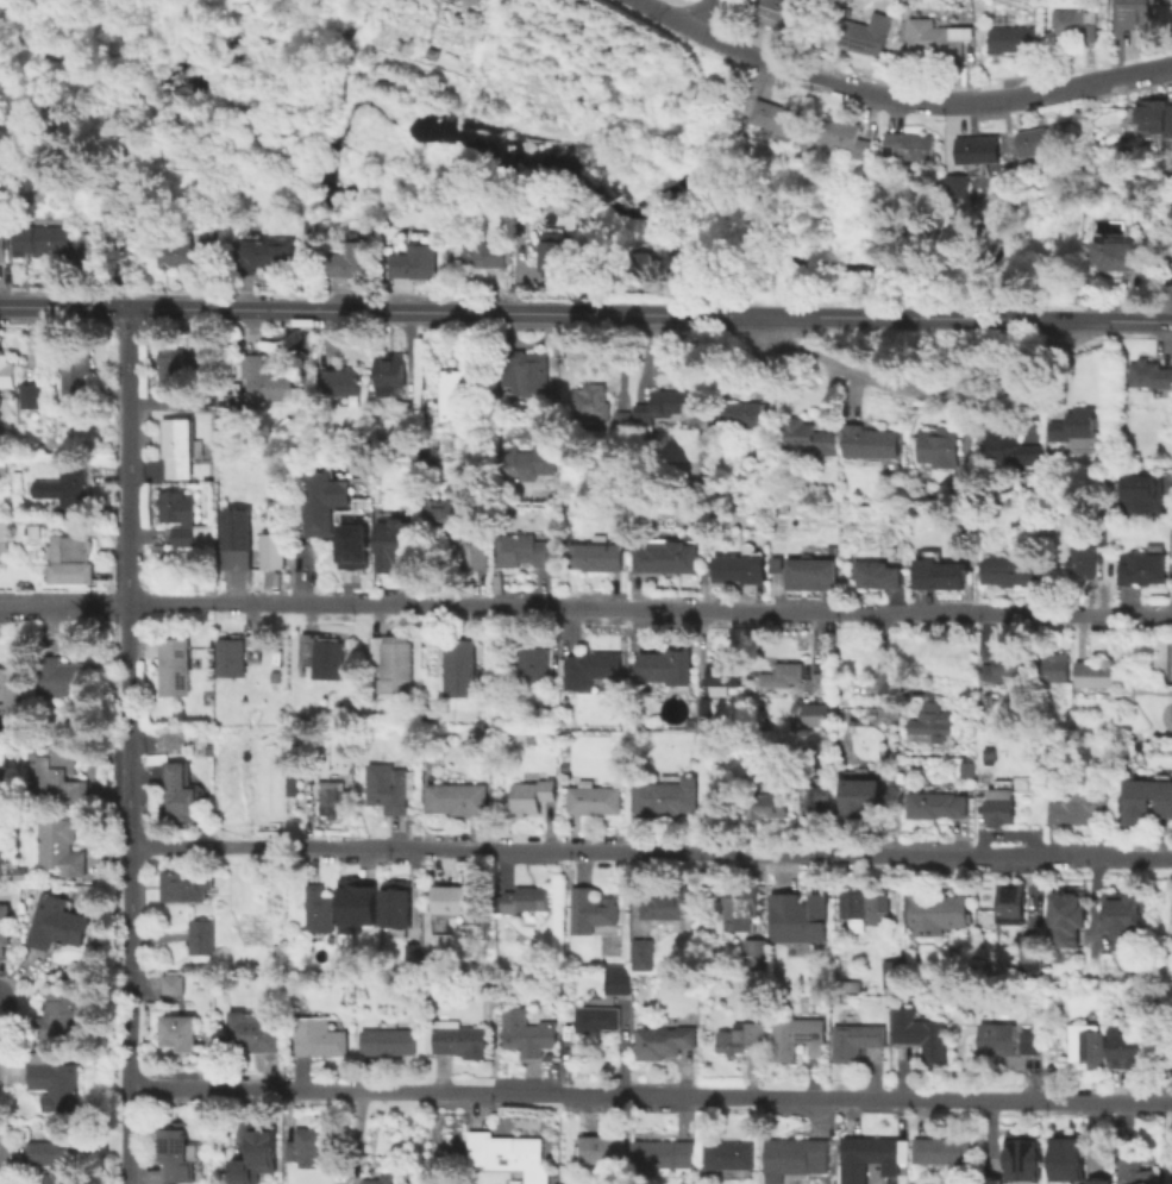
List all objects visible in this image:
building: (470, 1)
building: (782, 13)
building: (1139, 13)
road: (715, 18)
building: (1076, 23)
building: (863, 37)
building: (935, 38)
building: (1011, 38)
road: (895, 98)
building: (1154, 115)
building: (775, 117)
building: (844, 136)
building: (1040, 139)
building: (909, 145)
building: (977, 149)
road: (715, 182)
building: (957, 184)
building: (312, 226)
building: (120, 227)
building: (46, 238)
building: (1167, 245)
road: (704, 246)
building: (4, 248)
building: (98, 249)
building: (178, 252)
building: (554, 253)
building: (263, 255)
building: (477, 255)
building: (1121, 255)
building: (353, 259)
building: (416, 261)
building: (641, 265)
road: (679, 283)
road: (64, 307)
road: (650, 314)
building: (174, 364)
building: (7, 370)
building: (526, 370)
building: (391, 374)
building: (1149, 374)
building: (79, 375)
building: (264, 381)
building: (340, 382)
road: (920, 384)
building: (460, 387)
building: (230, 388)
building: (32, 395)
building: (196, 401)
building: (590, 403)
building: (659, 407)
building: (742, 414)
building: (621, 420)
building: (1073, 426)
building: (804, 438)
building: (871, 443)
building: (180, 446)
building: (939, 447)
building: (1009, 449)
building: (527, 463)
building: (961, 482)
building: (67, 488)
building: (1141, 495)
building: (324, 501)
building: (183, 519)
building: (444, 519)
building: (33, 532)
building: (5, 534)
building: (237, 538)
building: (352, 545)
building: (75, 546)
building: (402, 546)
building: (526, 550)
building: (274, 551)
building: (972, 555)
building: (478, 556)
building: (596, 556)
building: (666, 557)
building: (1080, 560)
building: (772, 564)
building: (739, 569)
building: (1142, 569)
building: (810, 570)
building: (1008, 572)
building: (876, 575)
building: (941, 575)
road: (585, 609)
building: (236, 653)
building: (325, 658)
building: (394, 659)
building: (537, 662)
building: (176, 666)
building: (459, 666)
building: (593, 669)
building: (666, 669)
building: (1003, 669)
building: (1052, 669)
building: (784, 675)
building: (1095, 675)
building: (725, 676)
building: (62, 677)
building: (822, 682)
building: (8, 688)
building: (706, 707)
building: (813, 714)
building: (1171, 716)
building: (610, 718)
building: (930, 723)
building: (14, 740)
road: (127, 745)
building: (969, 770)
building: (61, 777)
building: (387, 787)
building: (293, 788)
building: (180, 794)
building: (533, 796)
building: (331, 797)
building: (457, 797)
building: (819, 797)
building: (594, 798)
building: (663, 800)
building: (865, 800)
building: (1146, 801)
building: (767, 804)
building: (938, 804)
building: (1078, 806)
building: (999, 807)
building: (59, 846)
road: (650, 852)
building: (186, 885)
building: (522, 900)
building: (458, 901)
building: (393, 903)
building: (740, 904)
building: (357, 906)
building: (1011, 906)
building: (670, 907)
building: (319, 909)
building: (591, 910)
building: (876, 910)
building: (932, 914)
building: (800, 917)
building: (1068, 920)
building: (1124, 922)
building: (55, 923)
building: (4, 926)
building: (201, 936)
building: (641, 953)
building: (754, 954)
building: (1033, 954)
building: (895, 973)
building: (618, 981)
building: (173, 983)
building: (62, 1015)
building: (597, 1019)
building: (256, 1029)
building: (180, 1030)
building: (527, 1033)
building: (920, 1033)
building: (740, 1035)
building: (794, 1035)
building: (456, 1038)
building: (854, 1039)
building: (997, 1039)
building: (388, 1041)
building: (664, 1041)
building: (1030, 1041)
building: (319, 1042)
building: (1086, 1044)
building: (1129, 1054)
building: (59, 1086)
road: (650, 1095)
building: (305, 1142)
building: (600, 1147)
building: (940, 1149)
building: (256, 1151)
building: (660, 1153)
building: (177, 1154)
building: (509, 1155)
building: (729, 1155)
building: (867, 1157)
building: (1067, 1157)
building: (794, 1158)
building: (1019, 1158)
building: (58, 1160)
building: (1135, 1171)
building: (706, 1176)
building: (378, 1182)
building: (1098, 1182)

